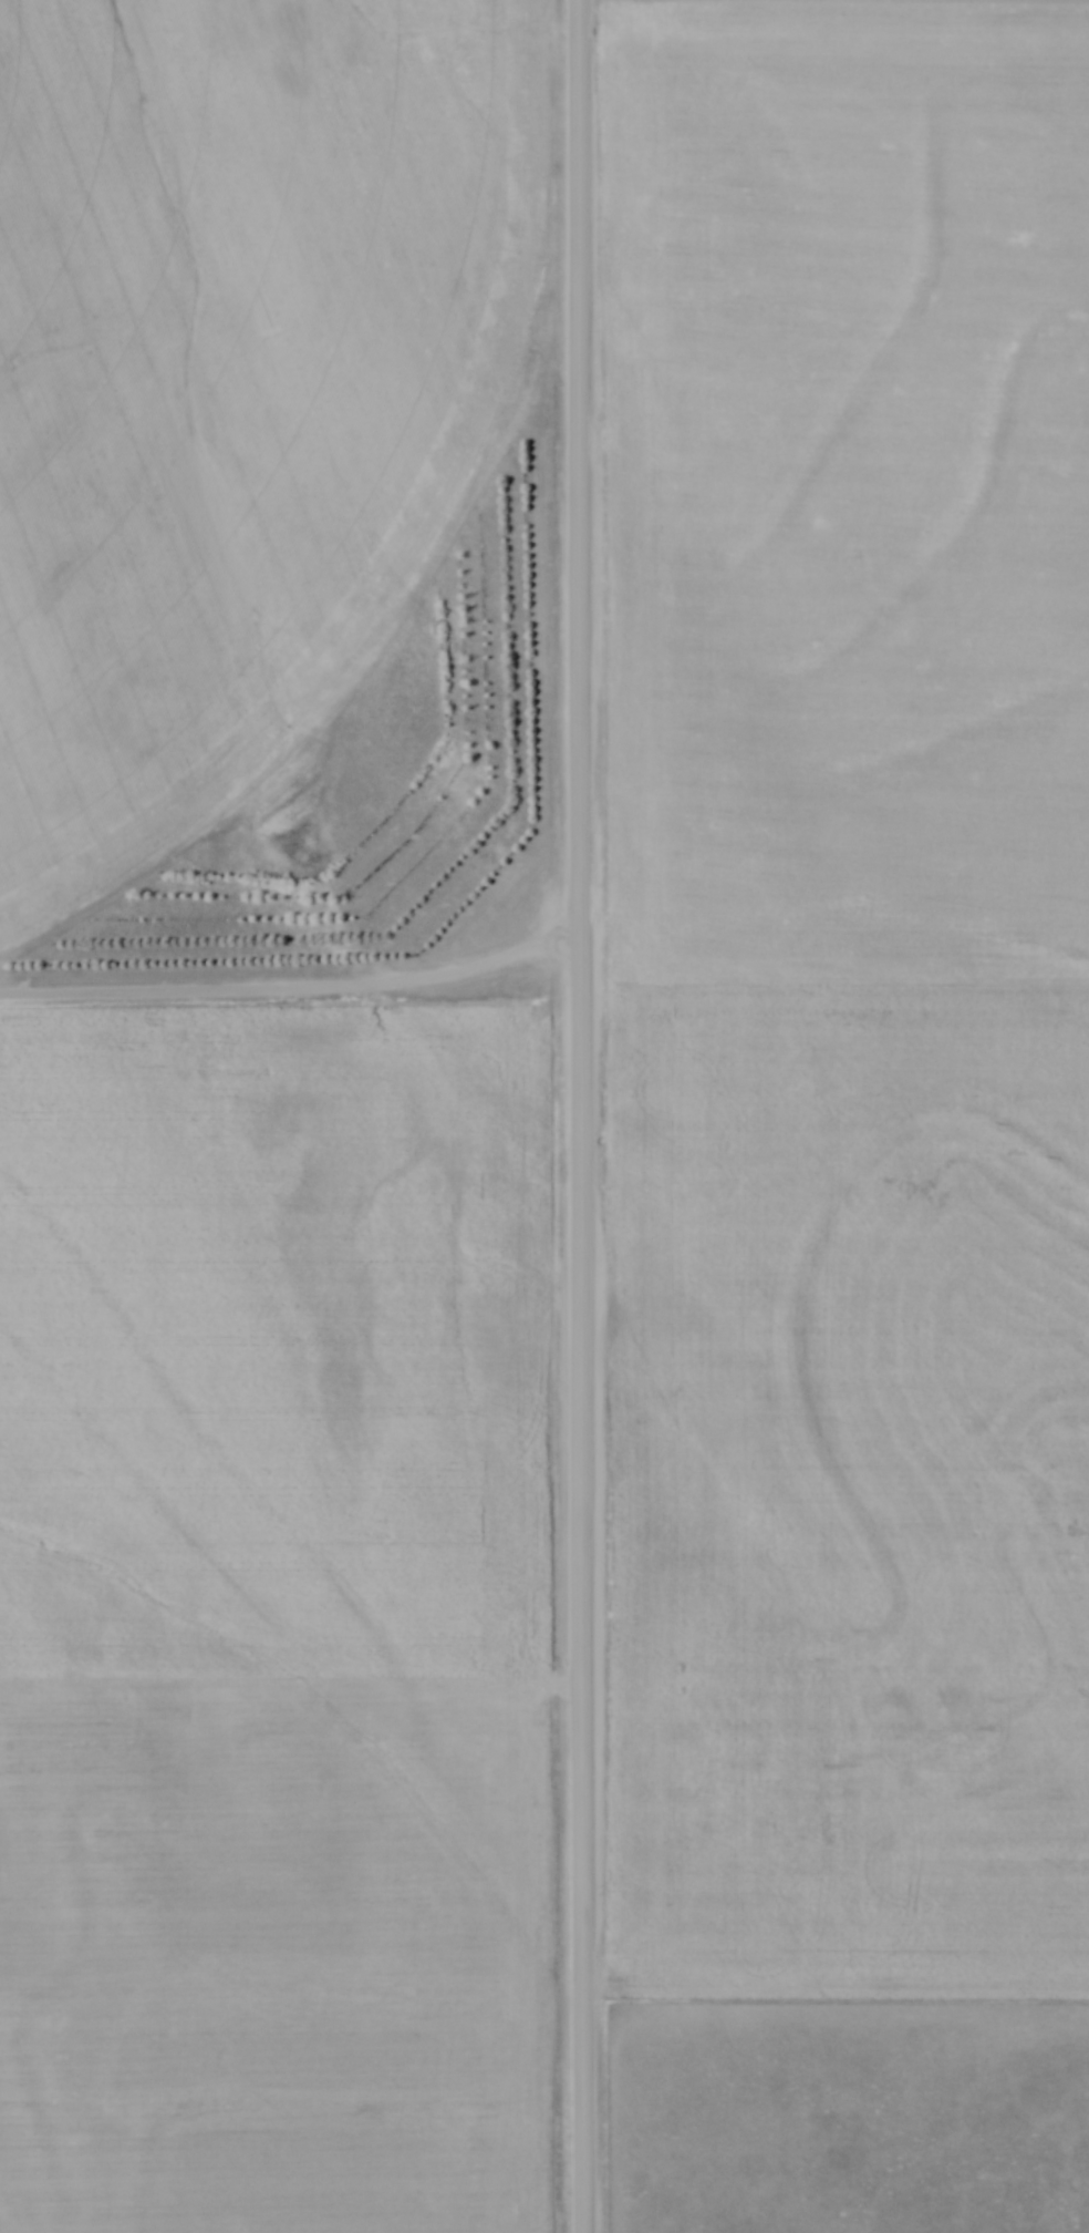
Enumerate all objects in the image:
road: (583, 1116)

